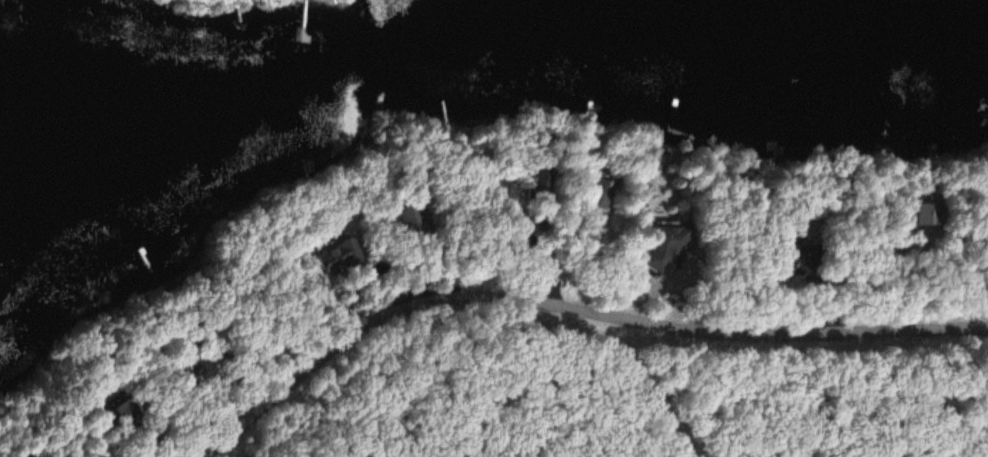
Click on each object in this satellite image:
building: (536, 184)
building: (597, 189)
building: (916, 214)
building: (409, 217)
building: (664, 242)
building: (341, 254)
building: (787, 259)
road: (567, 311)
building: (190, 365)
building: (121, 415)
building: (31, 456)

